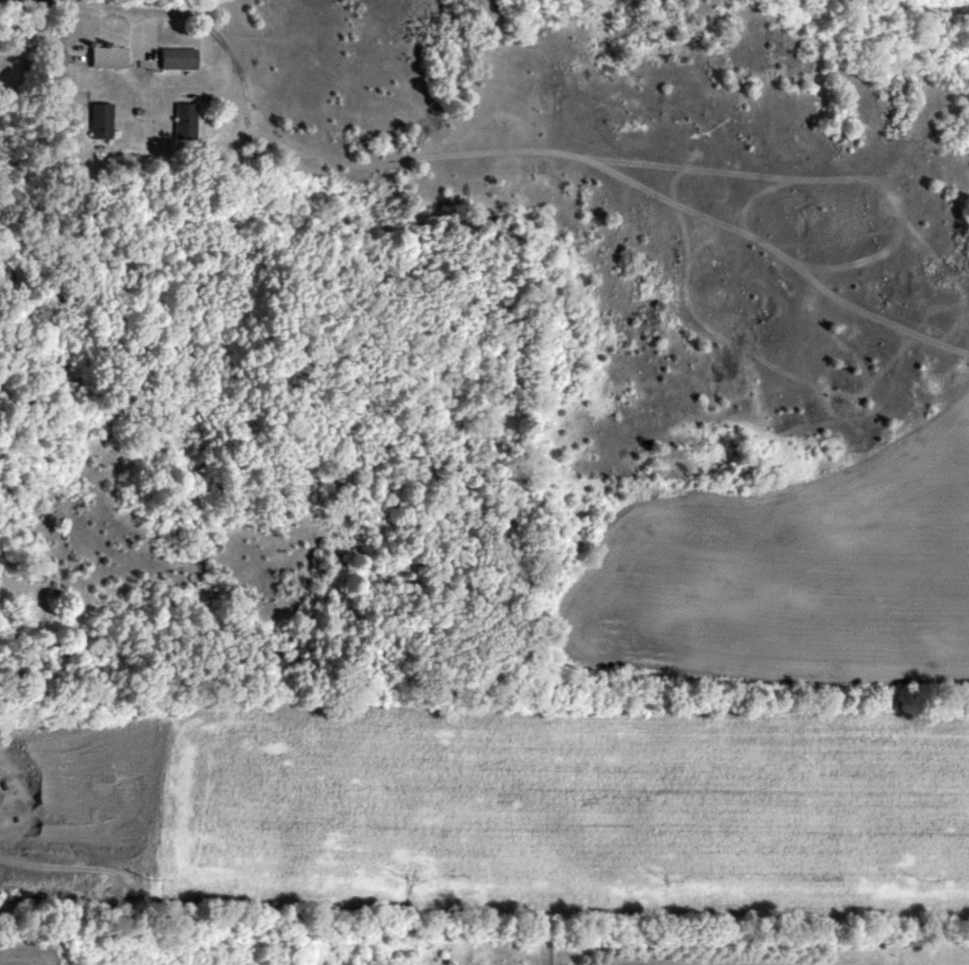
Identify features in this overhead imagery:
building: (110, 58)
building: (179, 59)
road: (241, 67)
road: (61, 76)
building: (102, 122)
building: (187, 122)
road: (149, 567)

